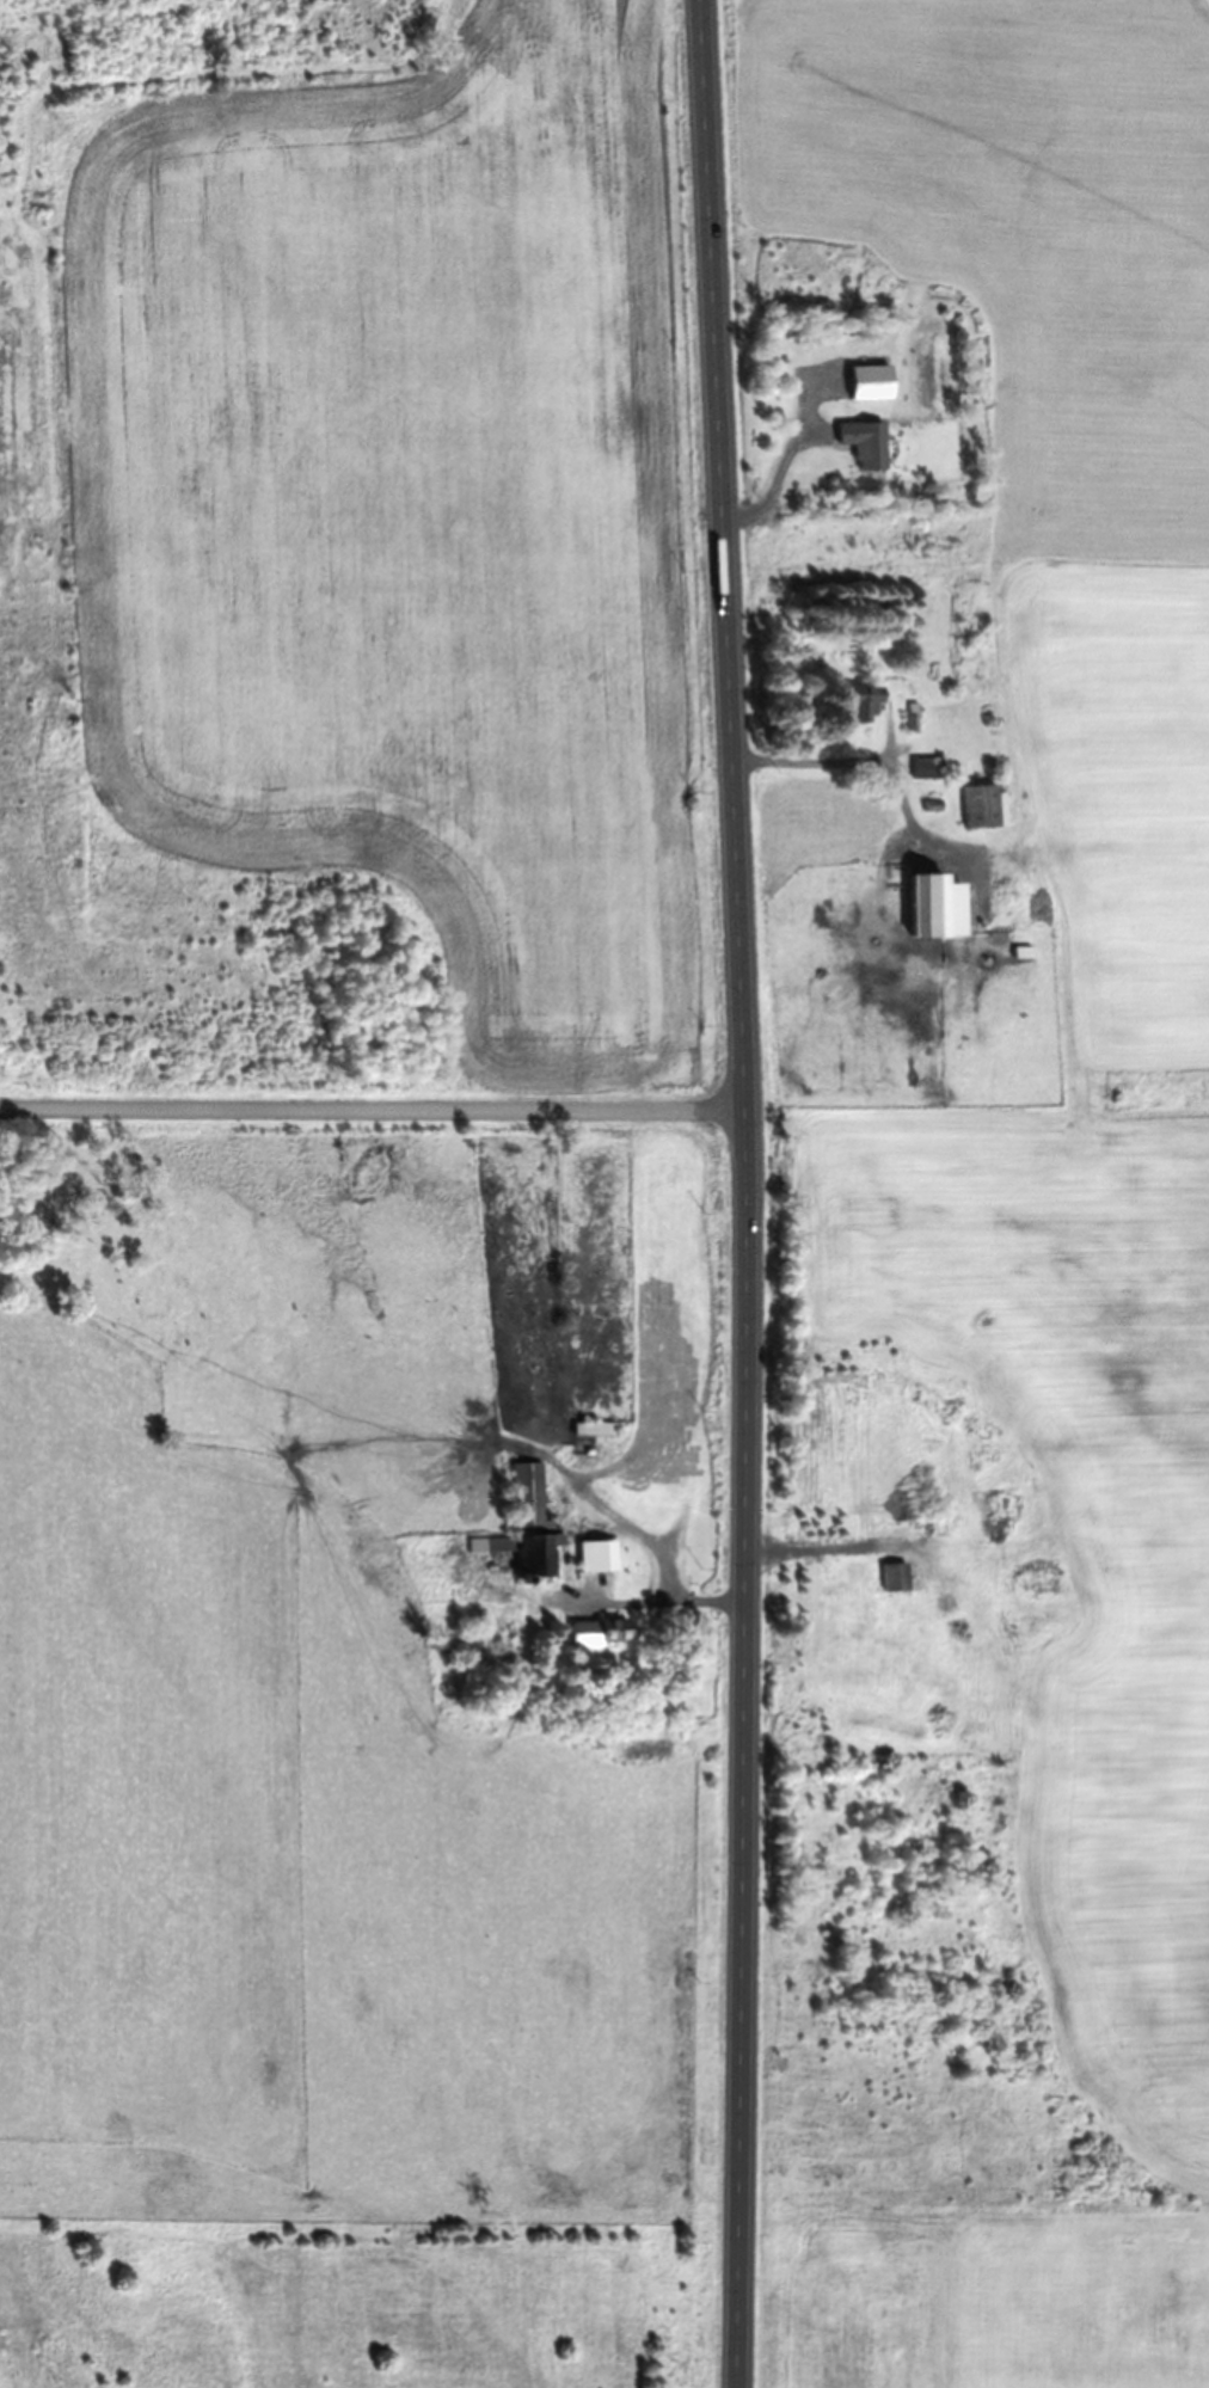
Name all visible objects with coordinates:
building: (872, 381)
building: (865, 442)
building: (865, 701)
building: (927, 767)
building: (981, 805)
building: (932, 904)
road: (373, 1110)
road: (748, 1193)
building: (529, 1526)
building: (599, 1557)
building: (896, 1578)
building: (889, 1616)
building: (603, 1632)

